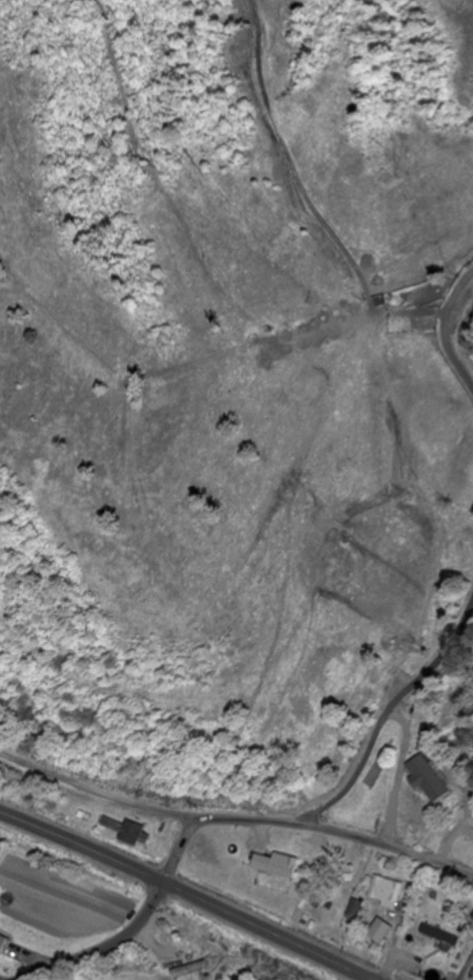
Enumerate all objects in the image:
road: (96, 793)
building: (128, 833)
road: (337, 833)
road: (179, 850)
building: (274, 867)
road: (186, 893)
building: (385, 893)
building: (423, 908)
building: (355, 911)
road: (403, 919)
building: (380, 932)
building: (2, 944)
road: (105, 947)
building: (184, 965)

